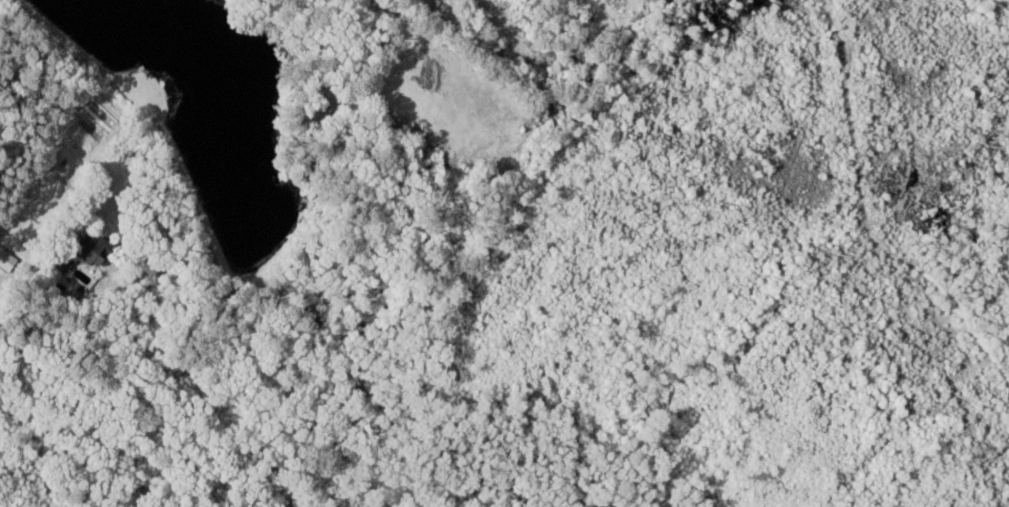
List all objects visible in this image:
road: (64, 183)
building: (108, 251)

